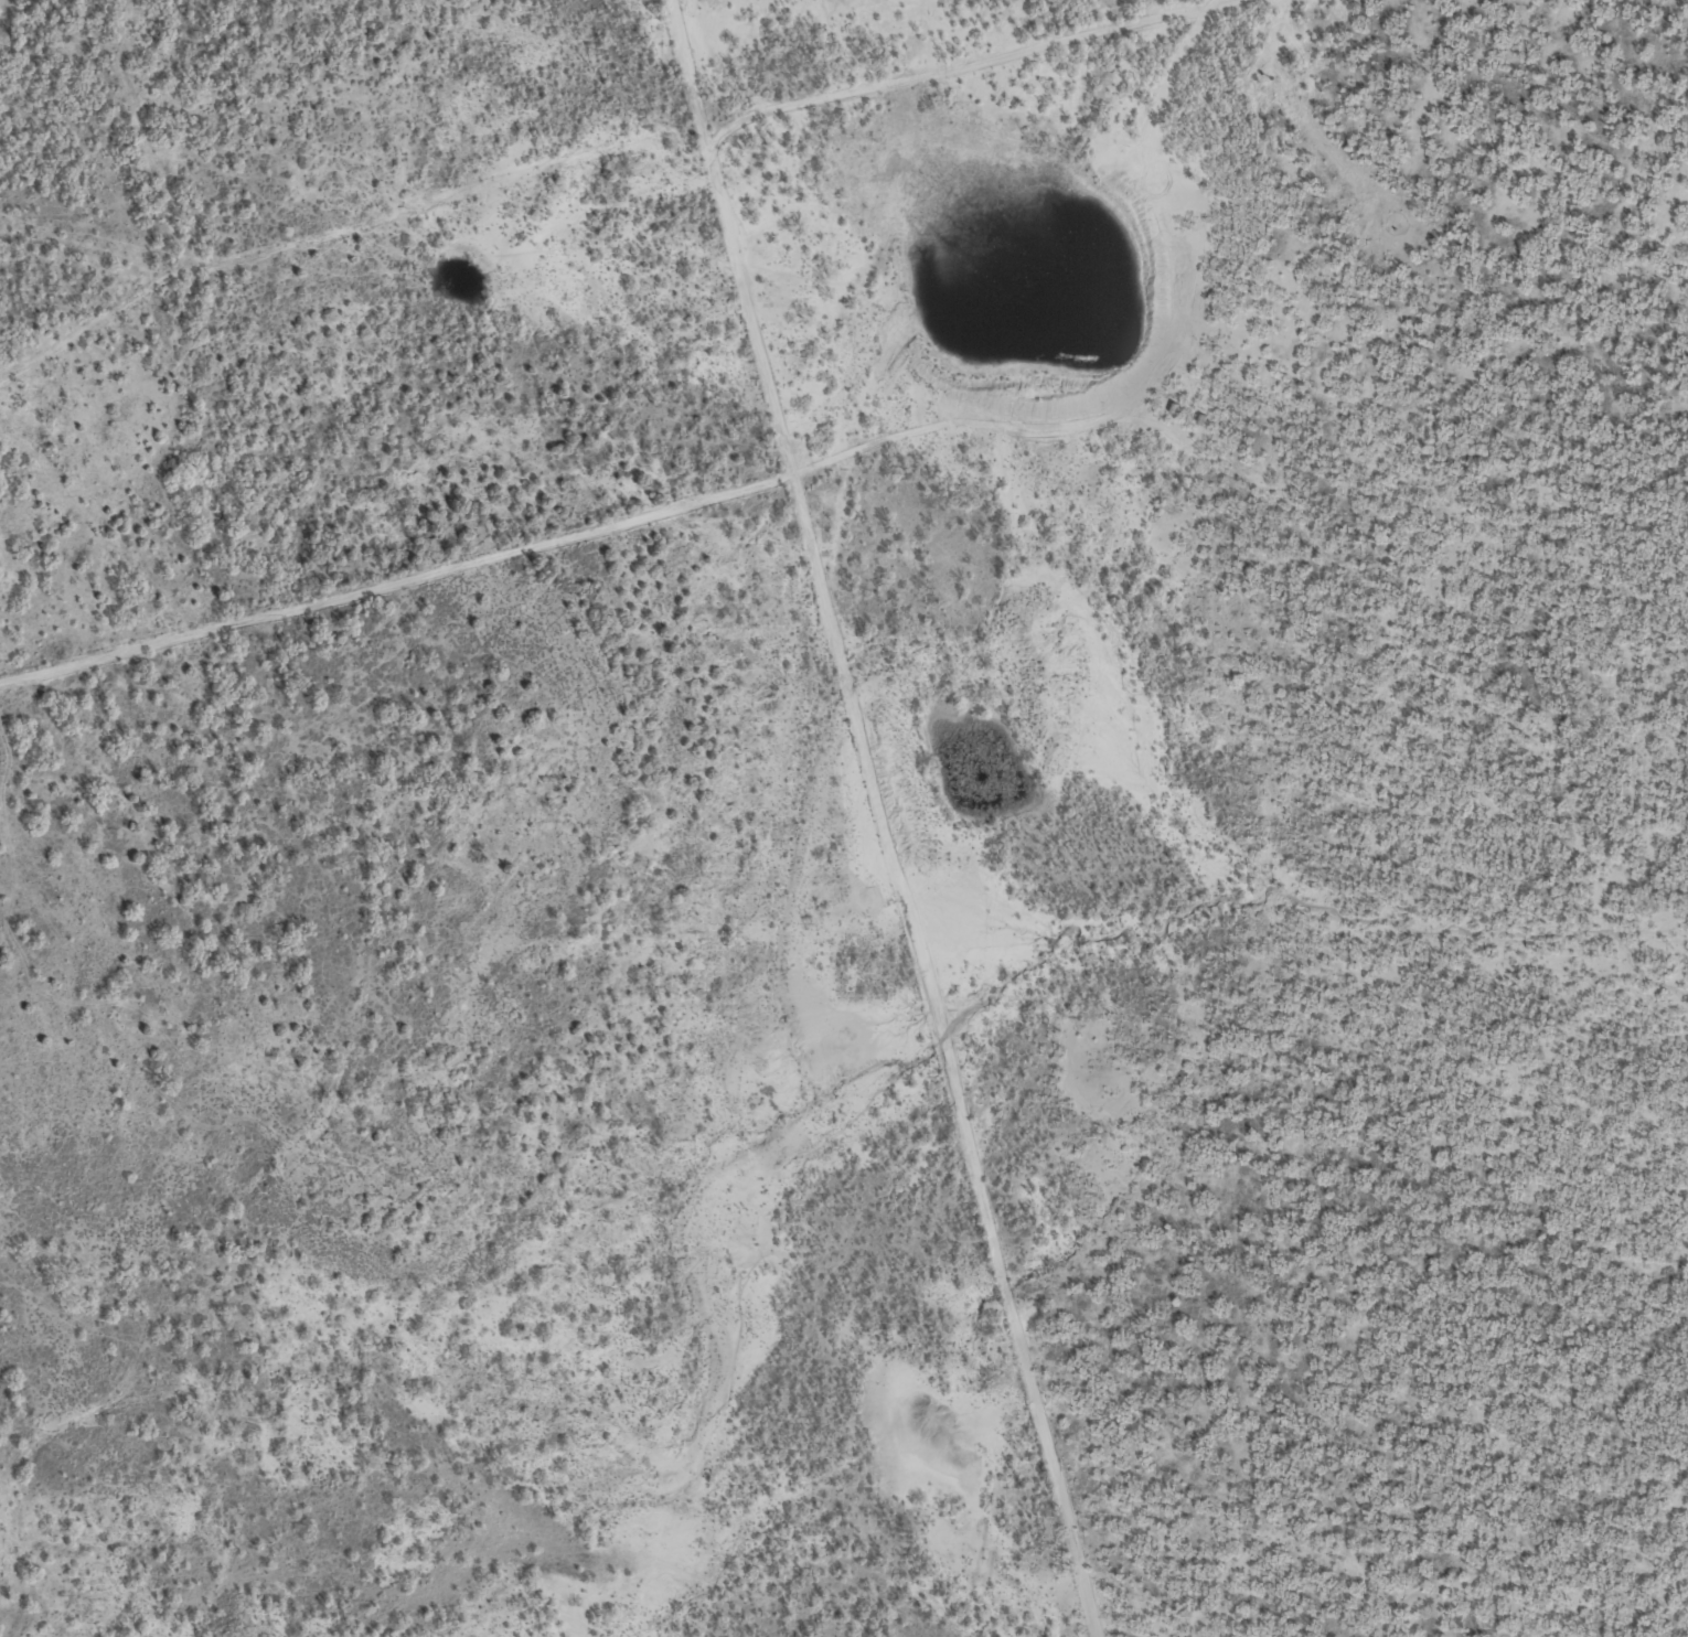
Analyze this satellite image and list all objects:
road: (316, 1127)
road: (405, 1463)

